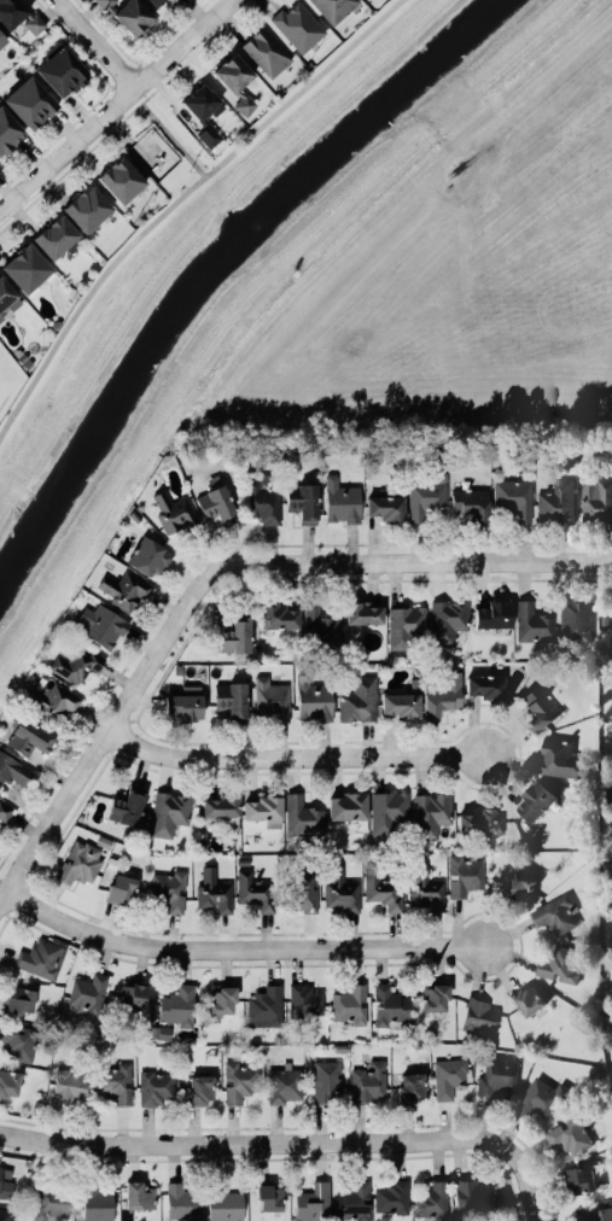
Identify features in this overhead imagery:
building: (169, 0)
building: (153, 1)
building: (105, 2)
building: (333, 7)
building: (11, 11)
building: (133, 17)
building: (33, 22)
building: (297, 24)
building: (1, 39)
road: (97, 42)
building: (266, 51)
building: (62, 71)
building: (235, 80)
building: (30, 100)
road: (115, 105)
building: (204, 113)
building: (8, 130)
road: (168, 134)
building: (144, 154)
building: (121, 177)
road: (179, 200)
building: (86, 206)
building: (54, 235)
building: (27, 267)
river: (221, 269)
building: (6, 294)
building: (426, 493)
building: (513, 493)
building: (261, 497)
building: (598, 498)
building: (302, 499)
building: (555, 499)
building: (340, 501)
building: (470, 501)
building: (216, 504)
building: (385, 504)
building: (173, 512)
building: (147, 555)
road: (216, 576)
building: (123, 589)
building: (363, 612)
building: (491, 613)
building: (279, 614)
building: (573, 618)
building: (447, 619)
building: (532, 621)
building: (404, 623)
building: (320, 624)
building: (100, 625)
building: (234, 636)
building: (77, 662)
building: (484, 685)
building: (270, 697)
building: (357, 697)
building: (439, 697)
building: (231, 699)
building: (313, 699)
building: (51, 701)
building: (183, 702)
building: (400, 705)
building: (537, 706)
building: (29, 736)
road: (296, 756)
building: (560, 756)
building: (13, 770)
building: (534, 799)
building: (346, 804)
building: (126, 806)
building: (262, 807)
building: (221, 808)
building: (4, 810)
building: (386, 810)
building: (168, 812)
building: (431, 812)
building: (303, 814)
building: (482, 822)
building: (80, 860)
building: (464, 876)
building: (517, 883)
building: (120, 886)
building: (425, 887)
building: (168, 888)
building: (303, 888)
building: (339, 888)
building: (212, 889)
building: (255, 889)
building: (383, 889)
building: (554, 913)
road: (241, 946)
building: (40, 957)
building: (560, 963)
building: (611, 968)
building: (88, 993)
building: (130, 994)
building: (433, 995)
building: (528, 998)
building: (19, 999)
building: (304, 999)
building: (349, 999)
building: (220, 1000)
building: (177, 1004)
building: (264, 1005)
building: (389, 1005)
building: (610, 1011)
building: (480, 1013)
building: (19, 1041)
building: (495, 1075)
building: (449, 1076)
building: (240, 1079)
building: (327, 1080)
building: (367, 1080)
building: (113, 1081)
building: (8, 1082)
building: (284, 1083)
building: (69, 1085)
building: (409, 1085)
building: (156, 1087)
building: (199, 1088)
building: (541, 1096)
building: (571, 1133)
road: (299, 1138)
building: (582, 1178)
building: (5, 1179)
building: (139, 1193)
building: (268, 1196)
building: (470, 1196)
building: (391, 1197)
building: (431, 1198)
building: (97, 1202)
building: (181, 1202)
building: (311, 1202)
building: (351, 1202)
building: (49, 1203)
building: (225, 1204)
building: (7, 1214)
building: (595, 1214)

